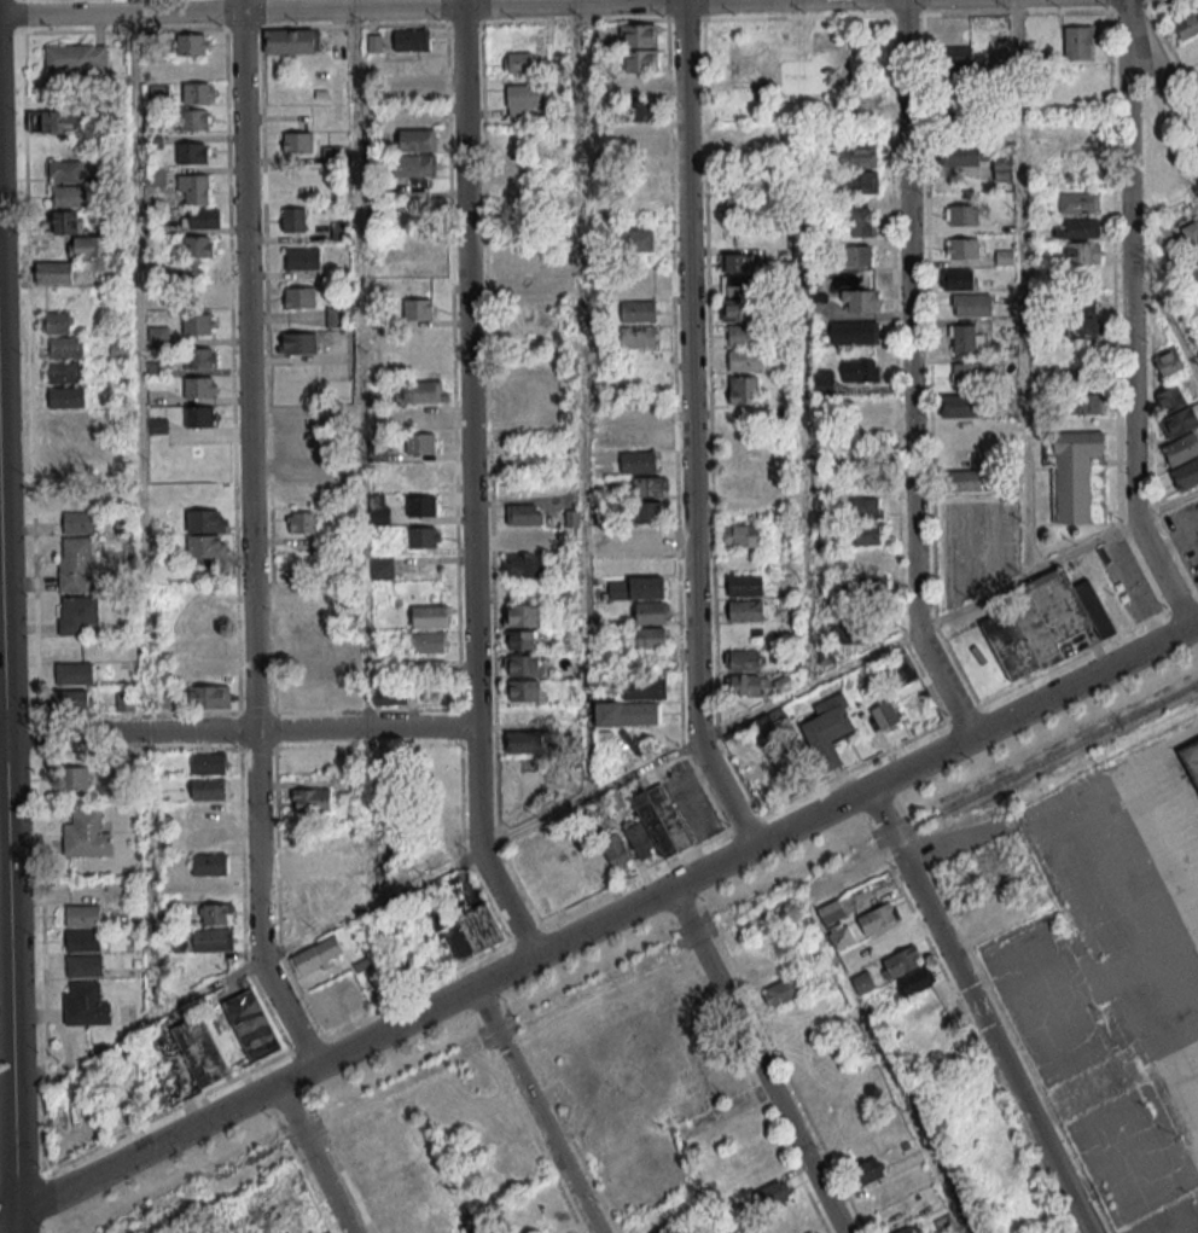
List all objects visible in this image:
road: (575, 1)
road: (370, 7)
road: (1124, 17)
building: (1187, 24)
building: (638, 35)
building: (411, 39)
building: (291, 40)
building: (1077, 42)
building: (192, 43)
building: (956, 56)
building: (76, 57)
building: (639, 60)
building: (518, 63)
park: (791, 63)
building: (639, 85)
road: (1167, 86)
building: (413, 89)
building: (198, 93)
building: (523, 101)
building: (956, 107)
building: (639, 109)
building: (196, 118)
building: (52, 121)
building: (641, 135)
building: (417, 139)
building: (512, 139)
building: (297, 141)
building: (192, 152)
building: (965, 155)
building: (857, 157)
building: (415, 168)
building: (1001, 168)
building: (66, 170)
building: (859, 181)
building: (194, 188)
building: (292, 192)
building: (69, 196)
building: (1078, 202)
building: (739, 210)
building: (961, 215)
building: (200, 217)
building: (293, 220)
building: (861, 220)
building: (68, 221)
building: (1076, 228)
building: (341, 231)
building: (1161, 232)
building: (1191, 235)
building: (638, 239)
building: (88, 246)
building: (961, 248)
building: (1082, 252)
building: (857, 255)
building: (193, 256)
building: (303, 258)
building: (737, 262)
building: (521, 263)
building: (53, 272)
building: (417, 275)
building: (958, 279)
building: (737, 284)
building: (640, 285)
road: (1020, 286)
building: (523, 289)
building: (299, 297)
building: (859, 299)
building: (971, 304)
building: (1081, 304)
building: (818, 307)
building: (418, 308)
building: (638, 310)
building: (738, 310)
building: (337, 316)
road: (1163, 316)
building: (56, 321)
building: (198, 324)
building: (1081, 327)
building: (854, 331)
building: (638, 336)
building: (743, 336)
road: (1130, 337)
building: (965, 338)
building: (297, 342)
building: (65, 347)
building: (199, 357)
building: (745, 360)
building: (1169, 360)
road: (360, 363)
road: (246, 365)
building: (860, 370)
building: (65, 371)
building: (966, 372)
road: (909, 376)
building: (1080, 376)
building: (822, 380)
building: (199, 386)
building: (743, 390)
building: (423, 391)
building: (65, 396)
road: (581, 399)
building: (1169, 399)
building: (1084, 403)
building: (961, 405)
building: (200, 415)
building: (426, 417)
building: (295, 418)
building: (68, 421)
building: (1180, 421)
building: (156, 425)
road: (691, 430)
building: (649, 437)
building: (421, 442)
building: (297, 443)
building: (1181, 448)
building: (638, 461)
building: (531, 463)
building: (297, 469)
building: (420, 473)
building: (1185, 473)
building: (1076, 475)
road: (804, 479)
building: (963, 479)
road: (470, 484)
building: (650, 487)
building: (75, 494)
building: (423, 505)
building: (867, 507)
road: (141, 508)
building: (649, 511)
building: (524, 514)
building: (78, 522)
building: (302, 522)
building: (867, 534)
building: (742, 535)
building: (423, 537)
building: (650, 537)
building: (527, 540)
building: (75, 564)
building: (525, 565)
building: (382, 568)
building: (744, 584)
building: (870, 584)
building: (636, 588)
building: (298, 594)
building: (789, 606)
building: (745, 610)
building: (651, 612)
building: (77, 615)
building: (523, 615)
building: (430, 616)
building: (1042, 622)
road: (1194, 624)
building: (647, 636)
building: (521, 639)
building: (428, 641)
building: (307, 642)
road: (1, 656)
building: (743, 659)
building: (521, 664)
building: (328, 665)
building: (901, 670)
building: (72, 673)
building: (745, 685)
building: (644, 686)
building: (522, 690)
building: (209, 696)
building: (389, 697)
building: (69, 700)
building: (126, 700)
building: (627, 713)
building: (884, 714)
road: (365, 729)
building: (828, 729)
road: (128, 732)
road: (1, 734)
building: (531, 737)
railway: (1062, 749)
road: (673, 754)
building: (1191, 760)
building: (208, 762)
building: (75, 778)
building: (208, 787)
building: (310, 801)
building: (203, 821)
building: (656, 825)
building: (85, 836)
road: (1162, 849)
building: (616, 851)
building: (308, 860)
building: (209, 862)
building: (558, 888)
road: (257, 905)
building: (831, 911)
building: (216, 913)
building: (990, 915)
building: (80, 917)
building: (877, 917)
road: (603, 920)
building: (466, 927)
building: (841, 936)
building: (209, 940)
building: (81, 942)
building: (316, 954)
road: (42, 960)
building: (901, 961)
building: (82, 967)
road: (8, 975)
building: (915, 981)
building: (862, 982)
building: (781, 990)
building: (83, 1006)
building: (326, 1007)
road: (977, 1011)
building: (249, 1026)
building: (198, 1053)
road: (269, 1060)
road: (756, 1060)
road: (6, 1098)
road: (535, 1110)
road: (679, 1136)
building: (507, 1156)
road: (313, 1159)
building: (867, 1170)
building: (411, 1192)
building: (772, 1193)
road: (7, 1219)
road: (16, 1223)
building: (911, 1228)
building: (330, 1232)

